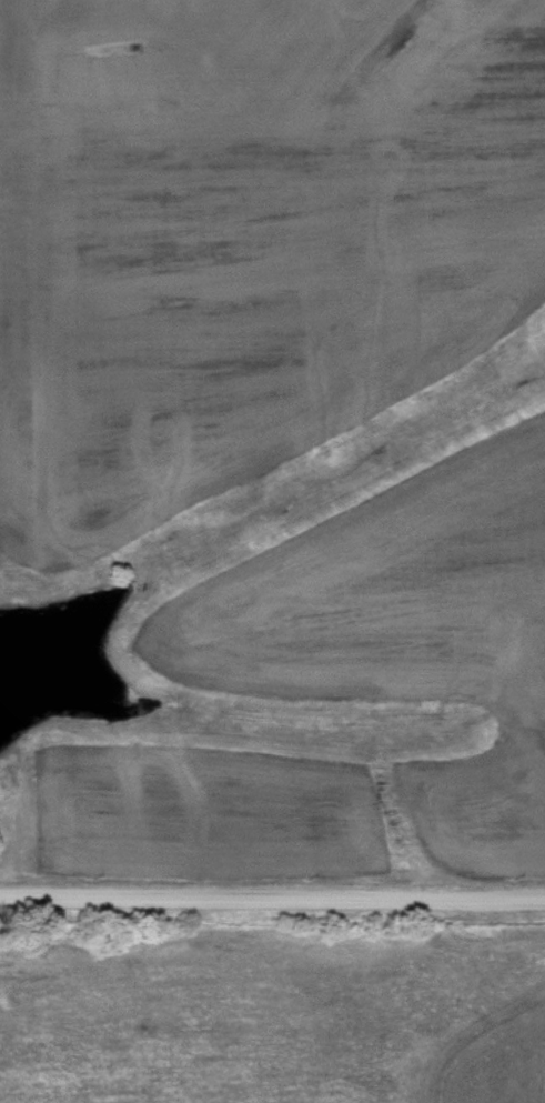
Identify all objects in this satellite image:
road: (272, 900)

